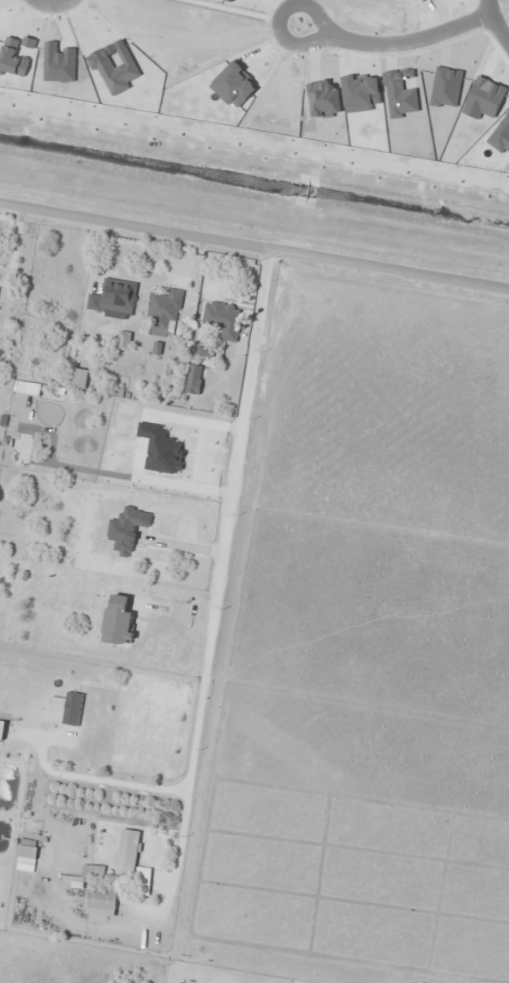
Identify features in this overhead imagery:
road: (53, 3)
road: (233, 10)
road: (281, 18)
road: (495, 22)
road: (411, 41)
road: (254, 242)
building: (115, 297)
building: (165, 309)
building: (223, 318)
building: (81, 378)
building: (195, 378)
building: (2, 729)
building: (129, 850)
building: (28, 854)
building: (102, 902)

